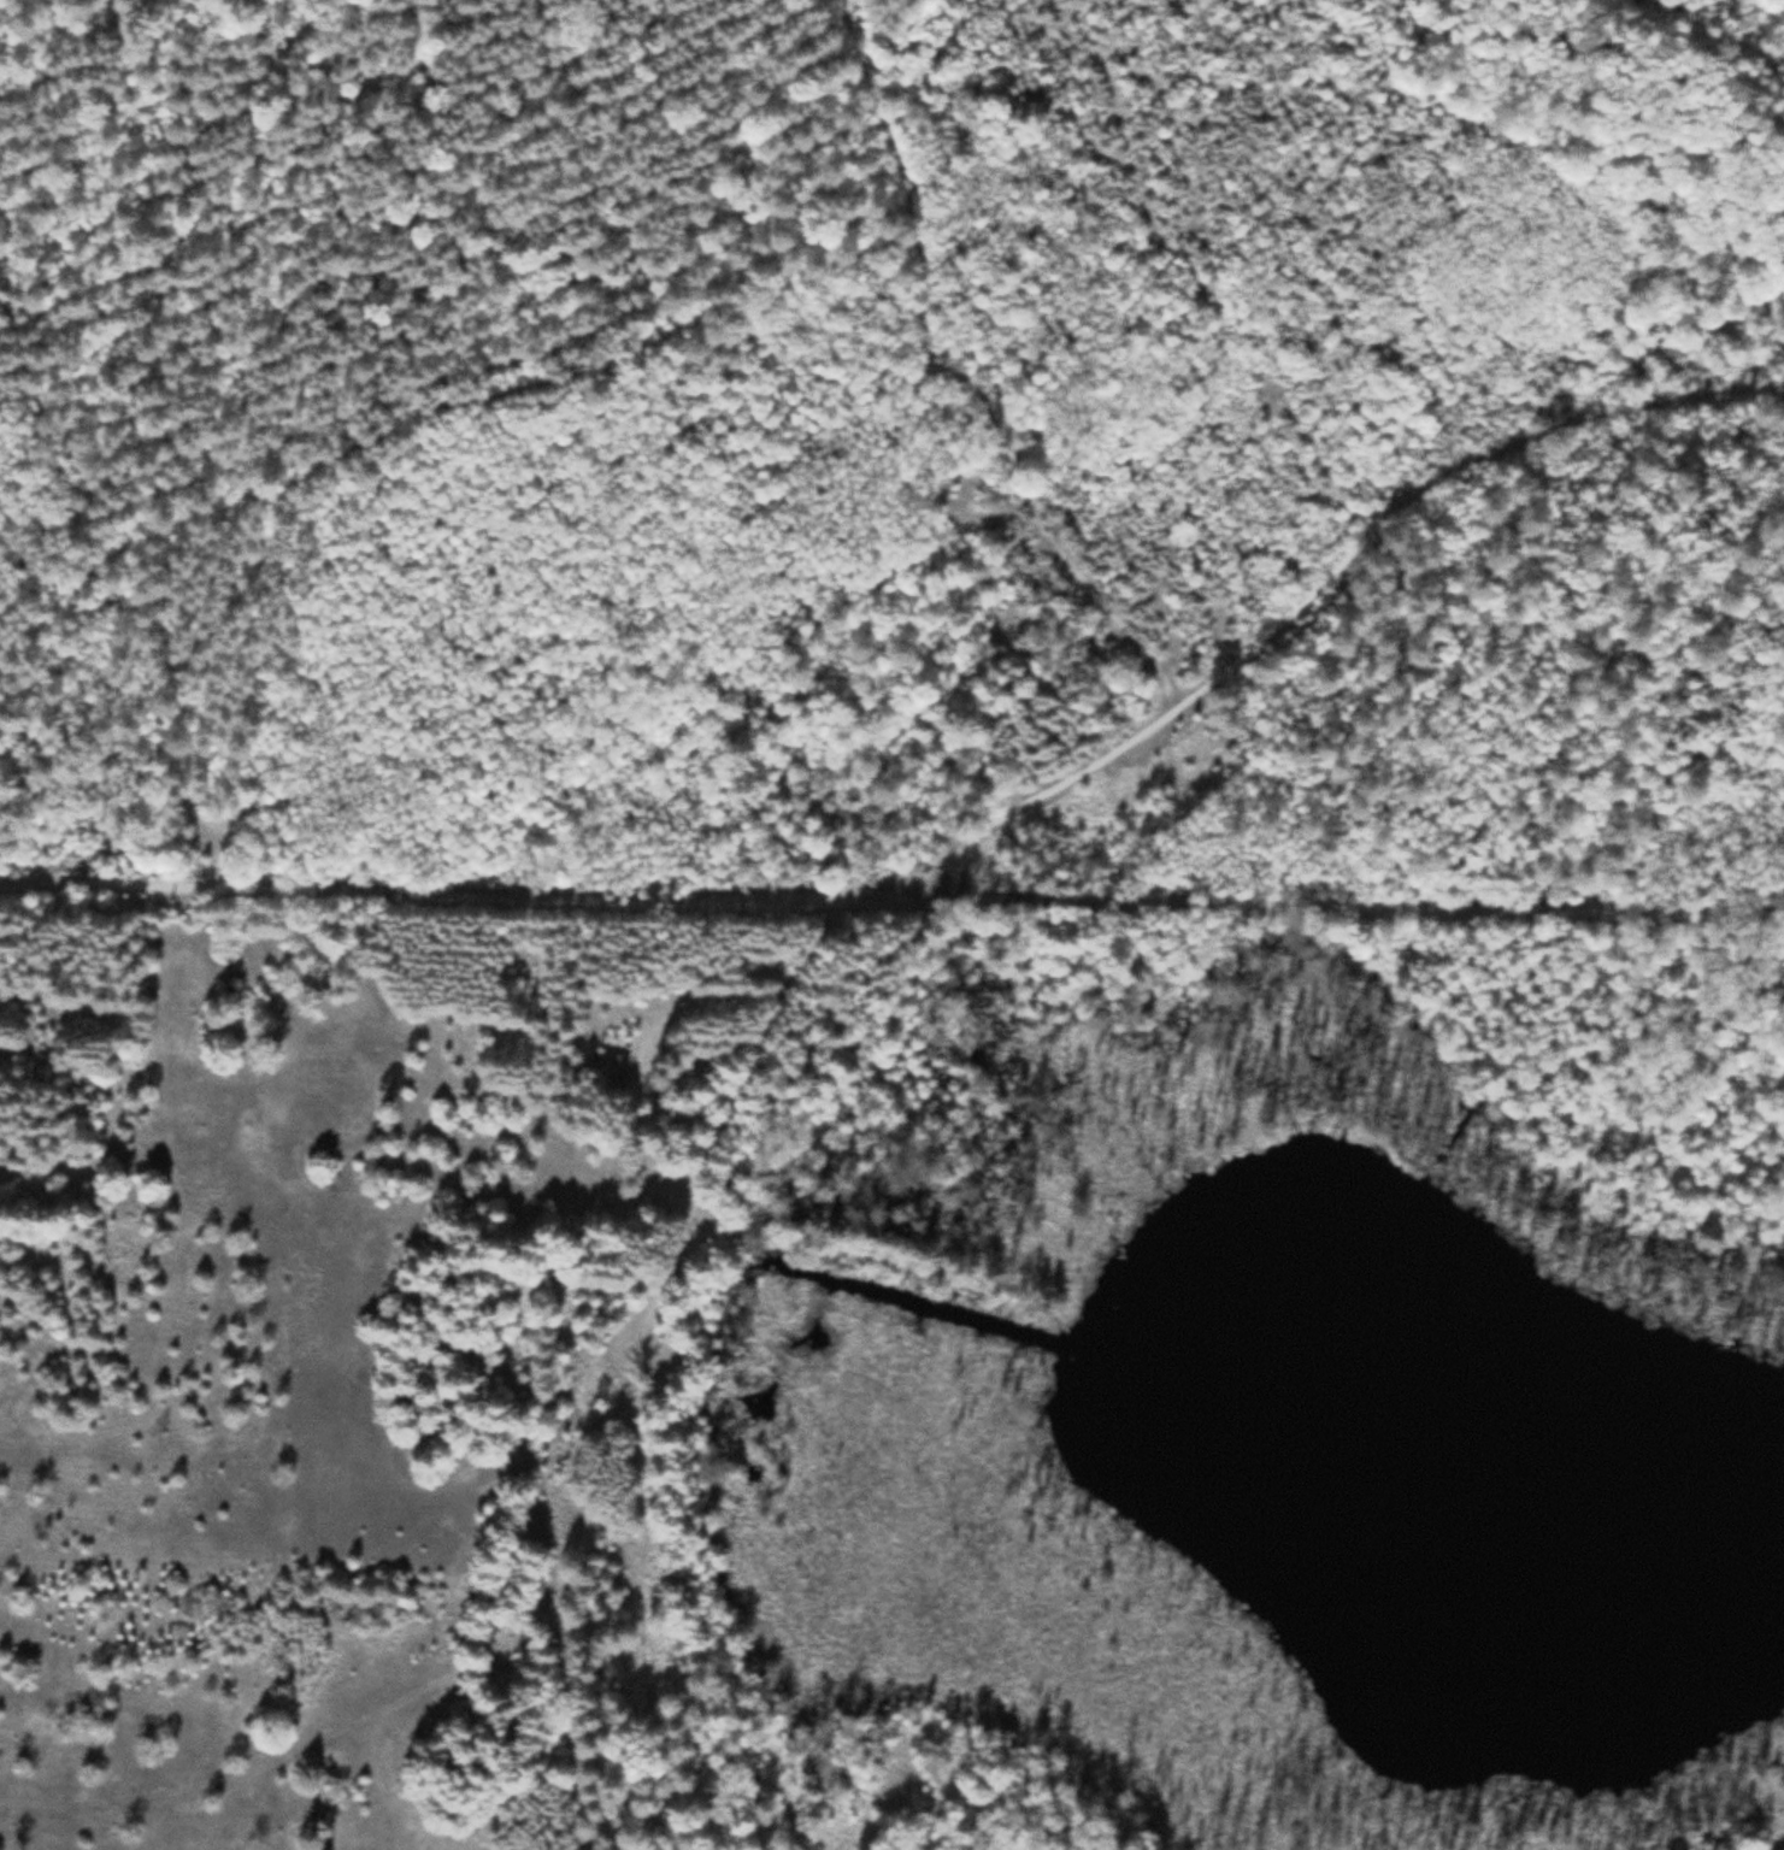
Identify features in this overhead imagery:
road: (1324, 588)
road: (891, 895)
building: (611, 1070)
road: (872, 1150)

